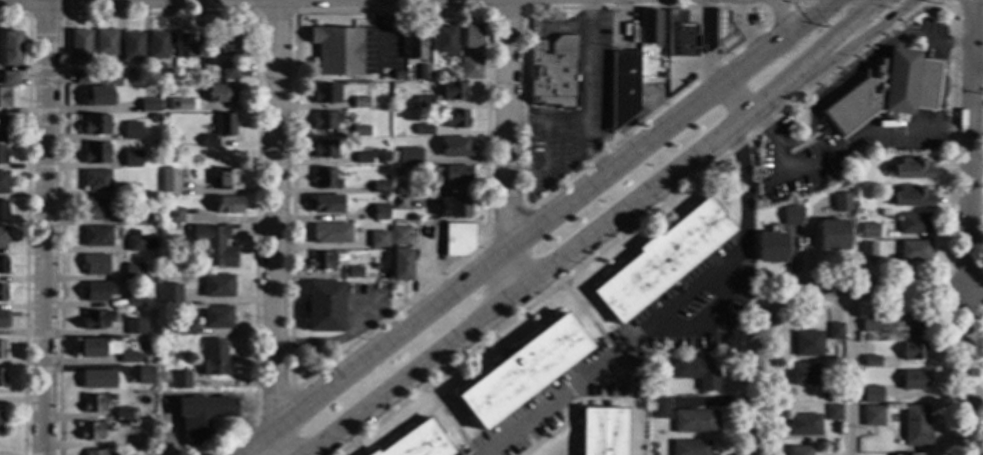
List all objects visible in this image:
road: (895, 1)
road: (842, 3)
road: (909, 3)
road: (967, 3)
traffic signals: (878, 6)
road: (782, 13)
road: (778, 17)
building: (468, 18)
road: (977, 20)
road: (970, 22)
building: (650, 26)
road: (891, 28)
building: (723, 31)
building: (681, 34)
building: (471, 36)
building: (444, 38)
building: (106, 41)
building: (227, 42)
building: (415, 42)
building: (132, 44)
building: (158, 45)
building: (187, 45)
building: (80, 46)
building: (12, 48)
building: (337, 50)
building: (660, 58)
road: (706, 63)
road: (857, 65)
building: (470, 67)
building: (230, 70)
building: (178, 71)
building: (553, 71)
building: (424, 72)
building: (110, 73)
building: (169, 74)
building: (397, 75)
building: (84, 76)
building: (10, 77)
building: (623, 86)
building: (877, 89)
building: (454, 90)
building: (223, 93)
building: (326, 93)
building: (98, 96)
building: (5, 97)
road: (592, 100)
building: (425, 101)
building: (360, 102)
building: (395, 103)
building: (181, 104)
building: (149, 105)
road: (648, 114)
building: (154, 116)
building: (326, 119)
building: (457, 119)
building: (96, 124)
building: (3, 126)
building: (220, 129)
building: (360, 129)
building: (424, 129)
building: (132, 130)
building: (456, 146)
road: (840, 146)
road: (510, 147)
building: (325, 148)
building: (96, 152)
building: (2, 155)
building: (410, 155)
building: (362, 157)
road: (737, 157)
building: (132, 158)
road: (969, 165)
building: (913, 168)
building: (398, 170)
building: (457, 174)
building: (437, 175)
building: (325, 178)
building: (96, 180)
building: (227, 180)
building: (3, 181)
building: (170, 181)
building: (381, 186)
building: (129, 188)
building: (912, 196)
building: (398, 201)
building: (841, 201)
building: (325, 203)
building: (228, 204)
building: (453, 206)
building: (98, 208)
building: (3, 209)
building: (380, 211)
building: (152, 214)
building: (176, 214)
building: (791, 215)
building: (133, 216)
road: (508, 223)
building: (914, 223)
road: (536, 226)
road: (47, 227)
road: (274, 227)
road: (599, 231)
building: (869, 231)
building: (330, 232)
building: (833, 234)
building: (96, 235)
building: (398, 235)
building: (3, 236)
building: (458, 238)
building: (370, 242)
building: (135, 243)
building: (214, 244)
building: (770, 246)
building: (868, 249)
building: (915, 250)
building: (322, 260)
building: (661, 260)
building: (3, 264)
building: (95, 264)
building: (401, 264)
building: (370, 270)
building: (134, 271)
building: (354, 271)
building: (383, 271)
building: (383, 282)
building: (218, 285)
road: (867, 287)
road: (948, 287)
road: (975, 287)
building: (97, 290)
building: (2, 292)
building: (171, 292)
building: (134, 298)
road: (870, 305)
building: (324, 306)
road: (391, 314)
building: (217, 316)
road: (590, 317)
road: (730, 317)
building: (4, 318)
building: (96, 318)
road: (713, 318)
building: (870, 322)
building: (917, 325)
building: (134, 326)
building: (186, 328)
building: (174, 329)
building: (835, 330)
road: (636, 336)
building: (864, 336)
road: (330, 340)
building: (808, 343)
building: (112, 346)
building: (92, 347)
building: (1, 348)
building: (915, 350)
building: (131, 356)
building: (215, 357)
building: (872, 360)
building: (522, 371)
road: (850, 371)
road: (967, 371)
building: (697, 372)
building: (803, 373)
building: (146, 374)
building: (2, 377)
building: (98, 378)
building: (181, 379)
road: (752, 379)
building: (912, 380)
building: (884, 391)
building: (830, 392)
building: (872, 394)
building: (95, 402)
road: (274, 404)
building: (660, 407)
building: (832, 411)
building: (124, 412)
building: (201, 415)
building: (873, 415)
building: (0, 417)
road: (451, 420)
building: (695, 420)
road: (982, 423)
building: (803, 424)
building: (916, 425)
building: (91, 430)
building: (604, 430)
road: (232, 438)
building: (123, 440)
building: (417, 441)
building: (653, 445)
building: (692, 447)
building: (799, 450)
building: (95, 452)
building: (910, 454)

